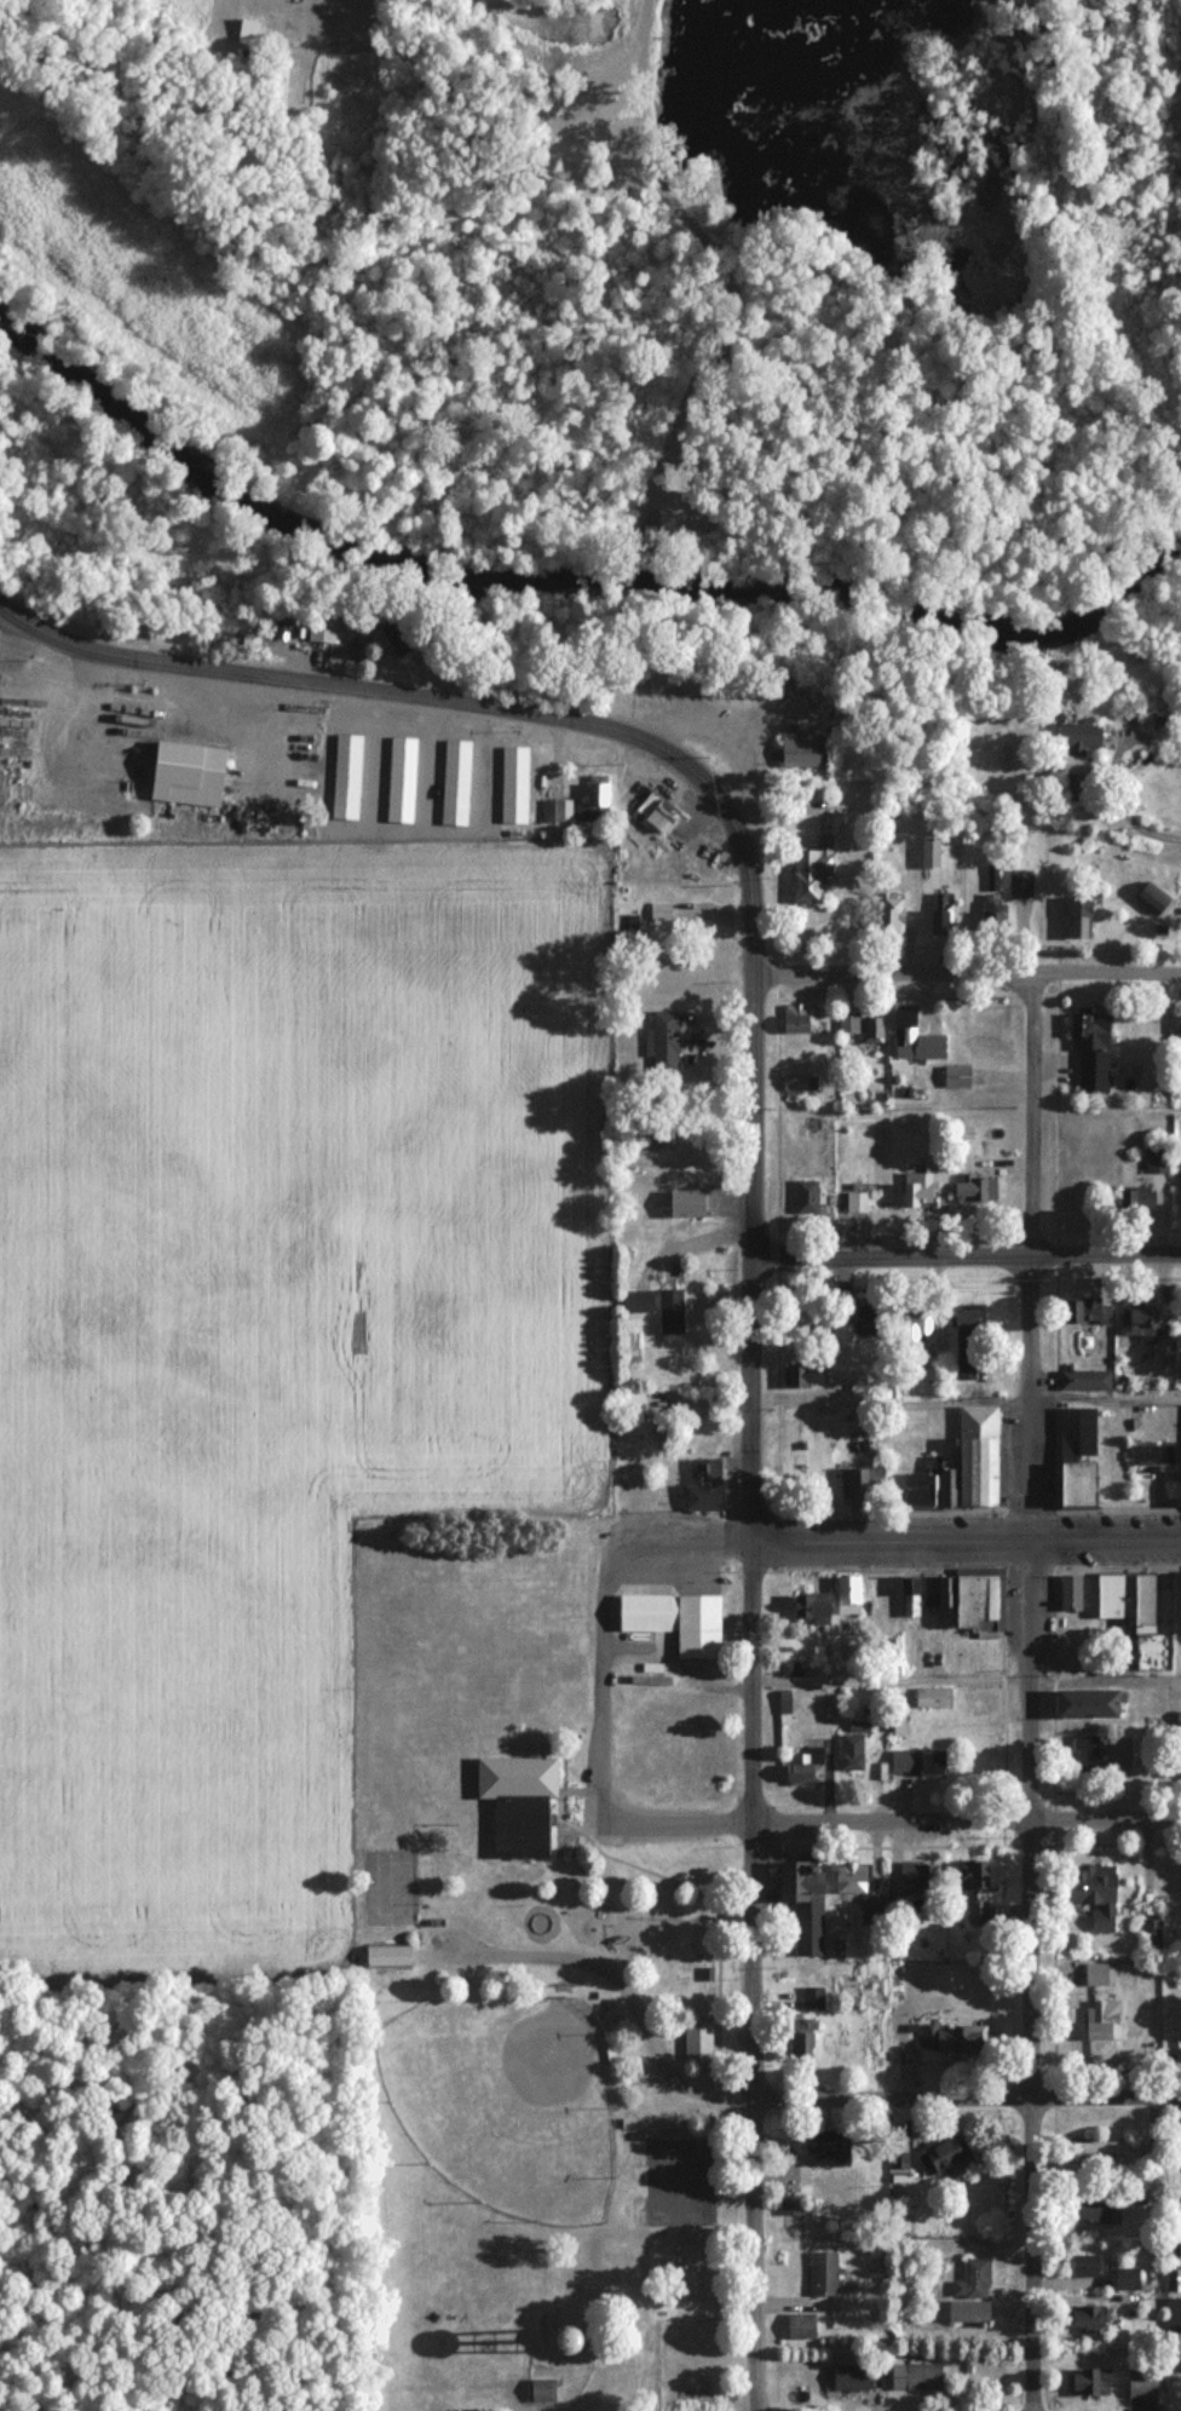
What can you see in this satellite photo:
building: (246, 28)
building: (322, 623)
building: (397, 638)
building: (747, 686)
building: (803, 753)
building: (1076, 759)
building: (194, 775)
building: (346, 776)
building: (402, 779)
building: (454, 782)
building: (513, 786)
road: (1114, 790)
road: (719, 792)
building: (594, 805)
building: (557, 812)
building: (658, 816)
building: (811, 871)
building: (1016, 886)
building: (1150, 897)
building: (891, 914)
building: (945, 914)
building: (1083, 916)
building: (996, 921)
building: (629, 933)
road: (964, 968)
building: (799, 1018)
building: (848, 1023)
building: (1180, 1026)
building: (871, 1029)
building: (914, 1038)
building: (662, 1041)
building: (1090, 1052)
building: (956, 1076)
building: (799, 1082)
building: (1156, 1158)
building: (970, 1183)
building: (923, 1186)
building: (812, 1199)
building: (1136, 1199)
building: (855, 1202)
building: (685, 1203)
road: (962, 1254)
building: (636, 1301)
building: (670, 1308)
building: (1087, 1311)
building: (967, 1317)
building: (1141, 1320)
building: (912, 1329)
building: (858, 1334)
building: (964, 1360)
building: (807, 1376)
building: (1083, 1380)
road: (1106, 1398)
road: (886, 1400)
building: (629, 1402)
building: (1076, 1432)
building: (960, 1467)
building: (1076, 1484)
building: (859, 1485)
building: (703, 1488)
road: (961, 1538)
building: (934, 1592)
building: (1070, 1594)
building: (847, 1595)
building: (909, 1596)
building: (1127, 1599)
building: (978, 1601)
building: (1175, 1602)
building: (810, 1607)
building: (674, 1621)
building: (790, 1669)
road: (963, 1676)
road: (1053, 1680)
road: (598, 1687)
road: (1030, 1688)
building: (932, 1698)
building: (1087, 1701)
building: (1179, 1747)
building: (851, 1753)
building: (1085, 1755)
building: (901, 1762)
building: (931, 1765)
building: (803, 1768)
building: (518, 1800)
road: (963, 1817)
building: (849, 1878)
building: (916, 1880)
building: (1093, 1894)
building: (803, 1903)
building: (977, 1914)
building: (386, 1957)
building: (1095, 1974)
road: (747, 1976)
road: (621, 1987)
building: (812, 1999)
building: (1101, 2020)
building: (961, 2039)
building: (697, 2041)
building: (801, 2041)
road: (964, 2094)
park: (505, 2101)
building: (630, 2123)
building: (1099, 2147)
building: (824, 2150)
building: (1177, 2150)
building: (945, 2154)
building: (1089, 2209)
building: (1087, 2266)
building: (823, 2273)
building: (972, 2279)
building: (1127, 2279)
building: (1173, 2291)
building: (967, 2312)
building: (1087, 2318)
building: (801, 2326)
water tower: (604, 2338)
building: (559, 2342)
building: (915, 2377)
building: (849, 2378)
building: (1088, 2383)
building: (1141, 2383)
building: (541, 2392)

